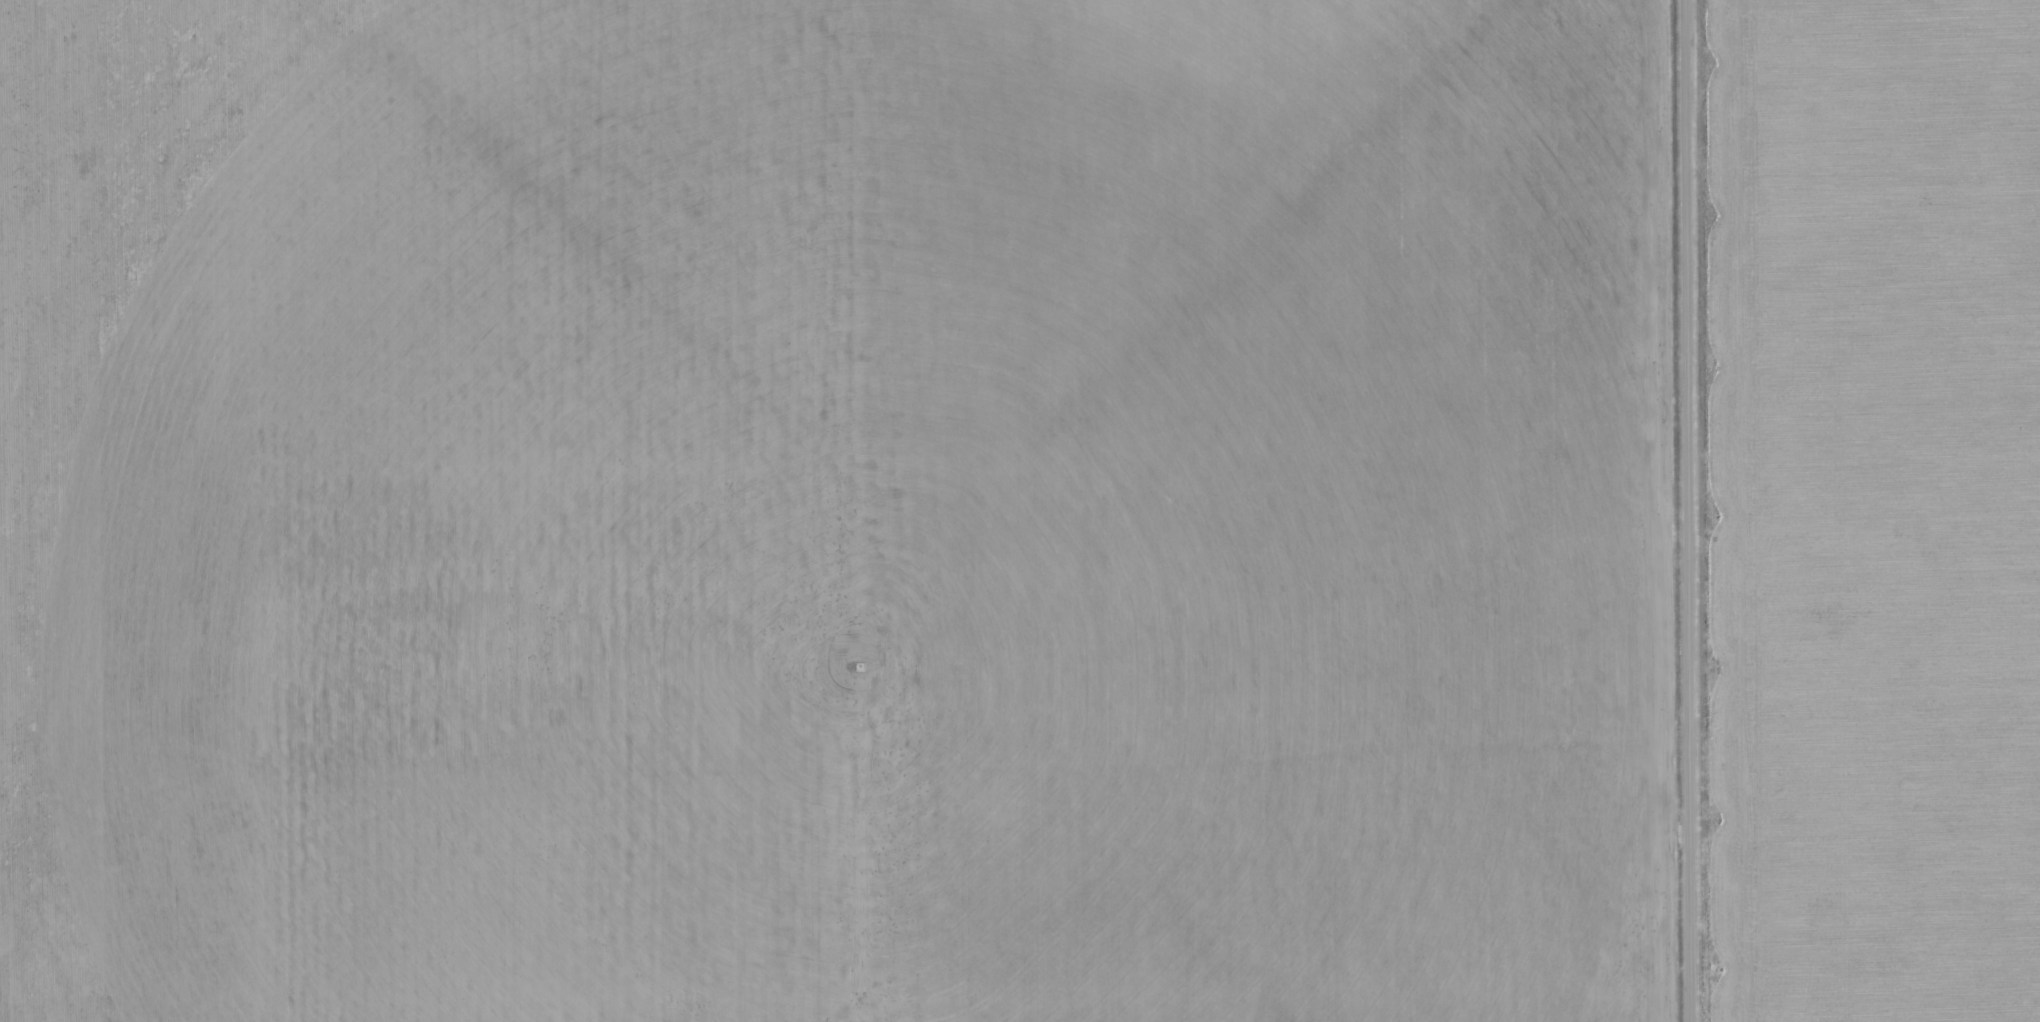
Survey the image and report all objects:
road: (1690, 510)

